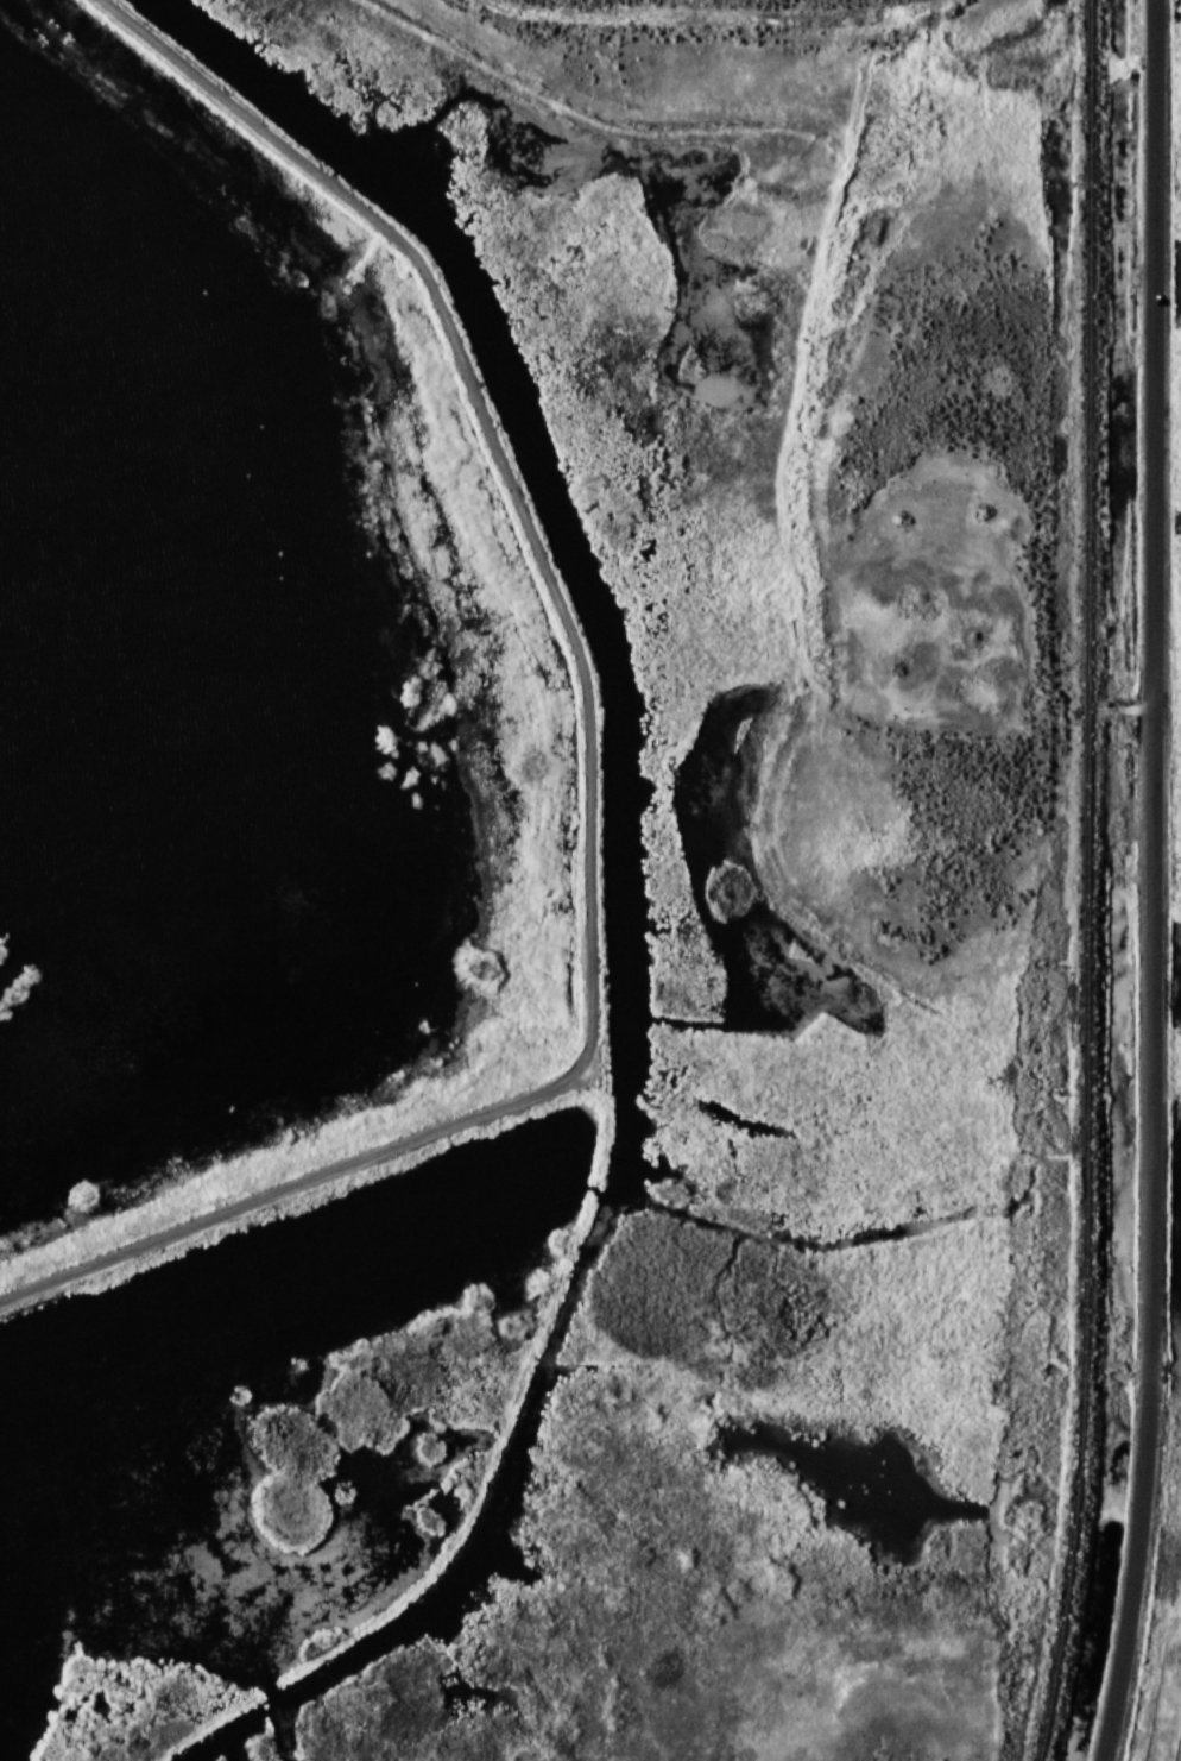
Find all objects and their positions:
road: (711, 39)
railway: (1093, 881)
road: (1151, 882)

